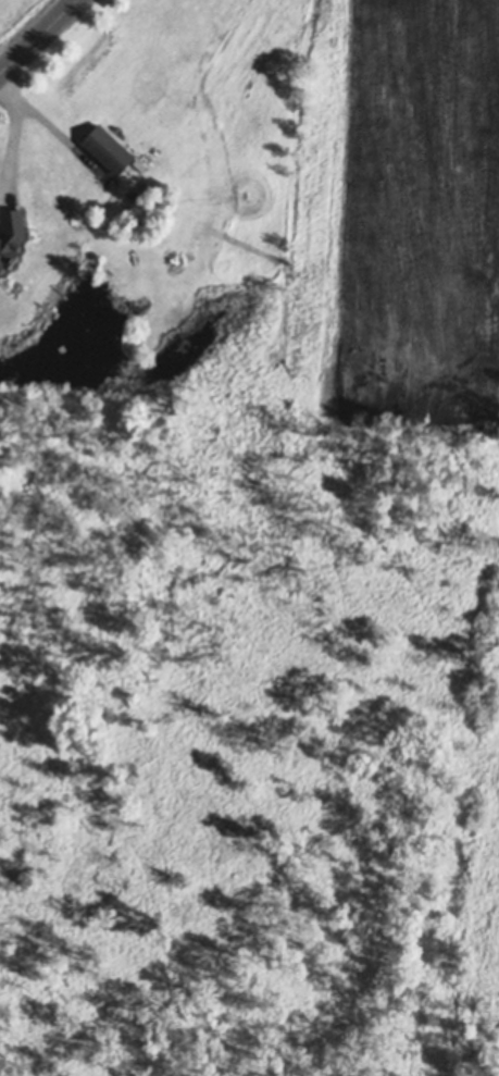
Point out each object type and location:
road: (38, 36)
building: (108, 146)
building: (139, 162)
crop: (415, 211)
building: (11, 232)

